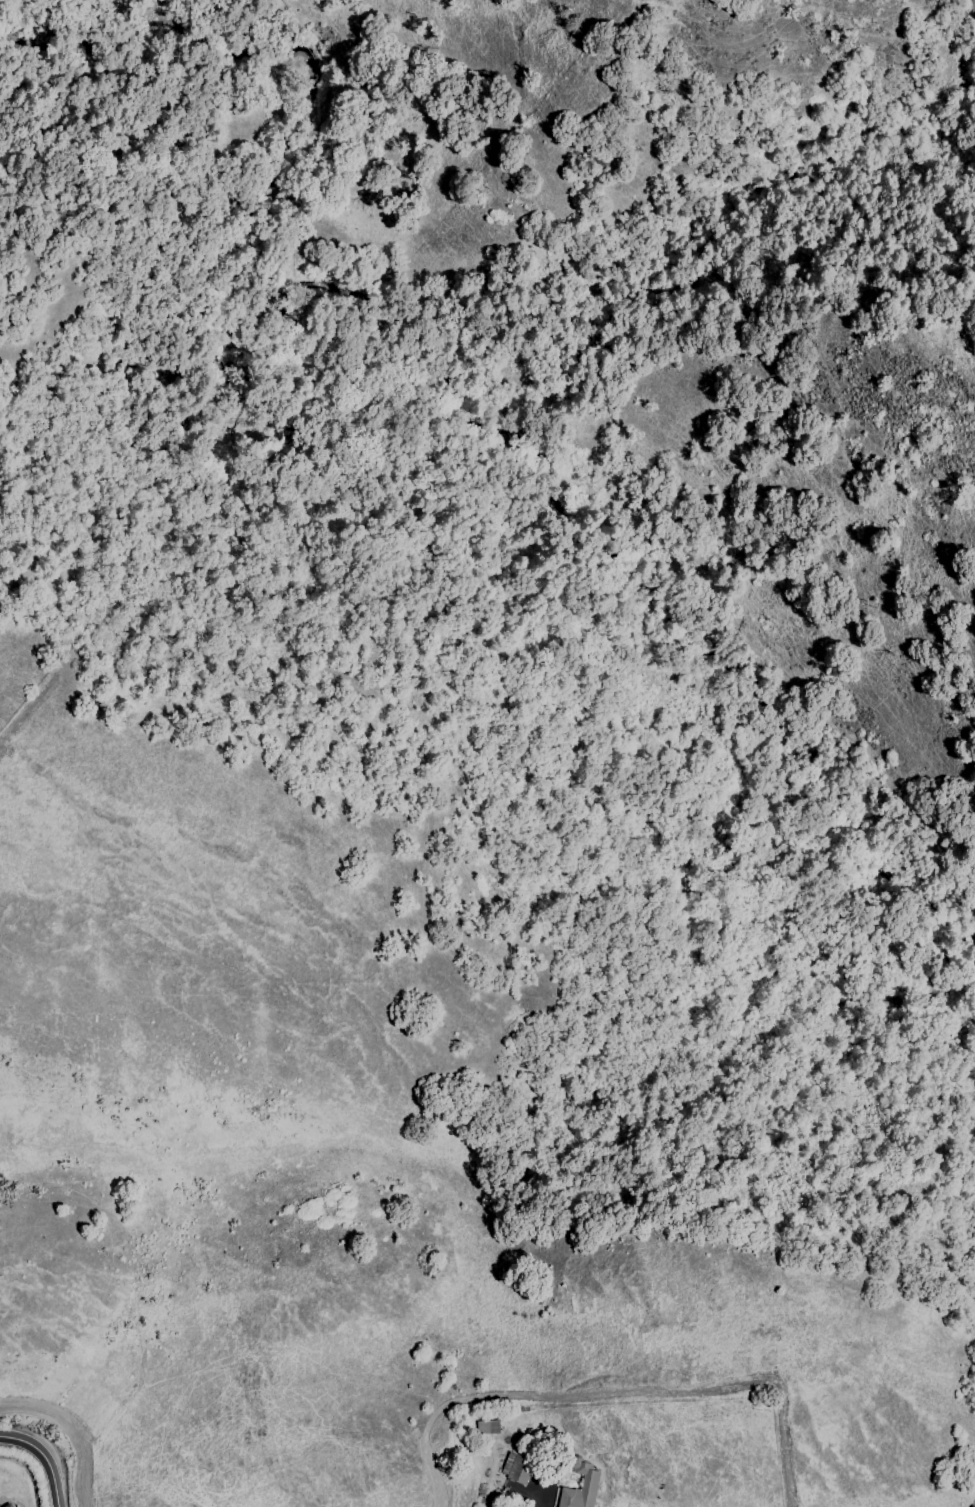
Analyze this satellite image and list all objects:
road: (44, 1458)
building: (515, 1468)
building: (581, 1488)
road: (536, 1499)
building: (7, 1505)

